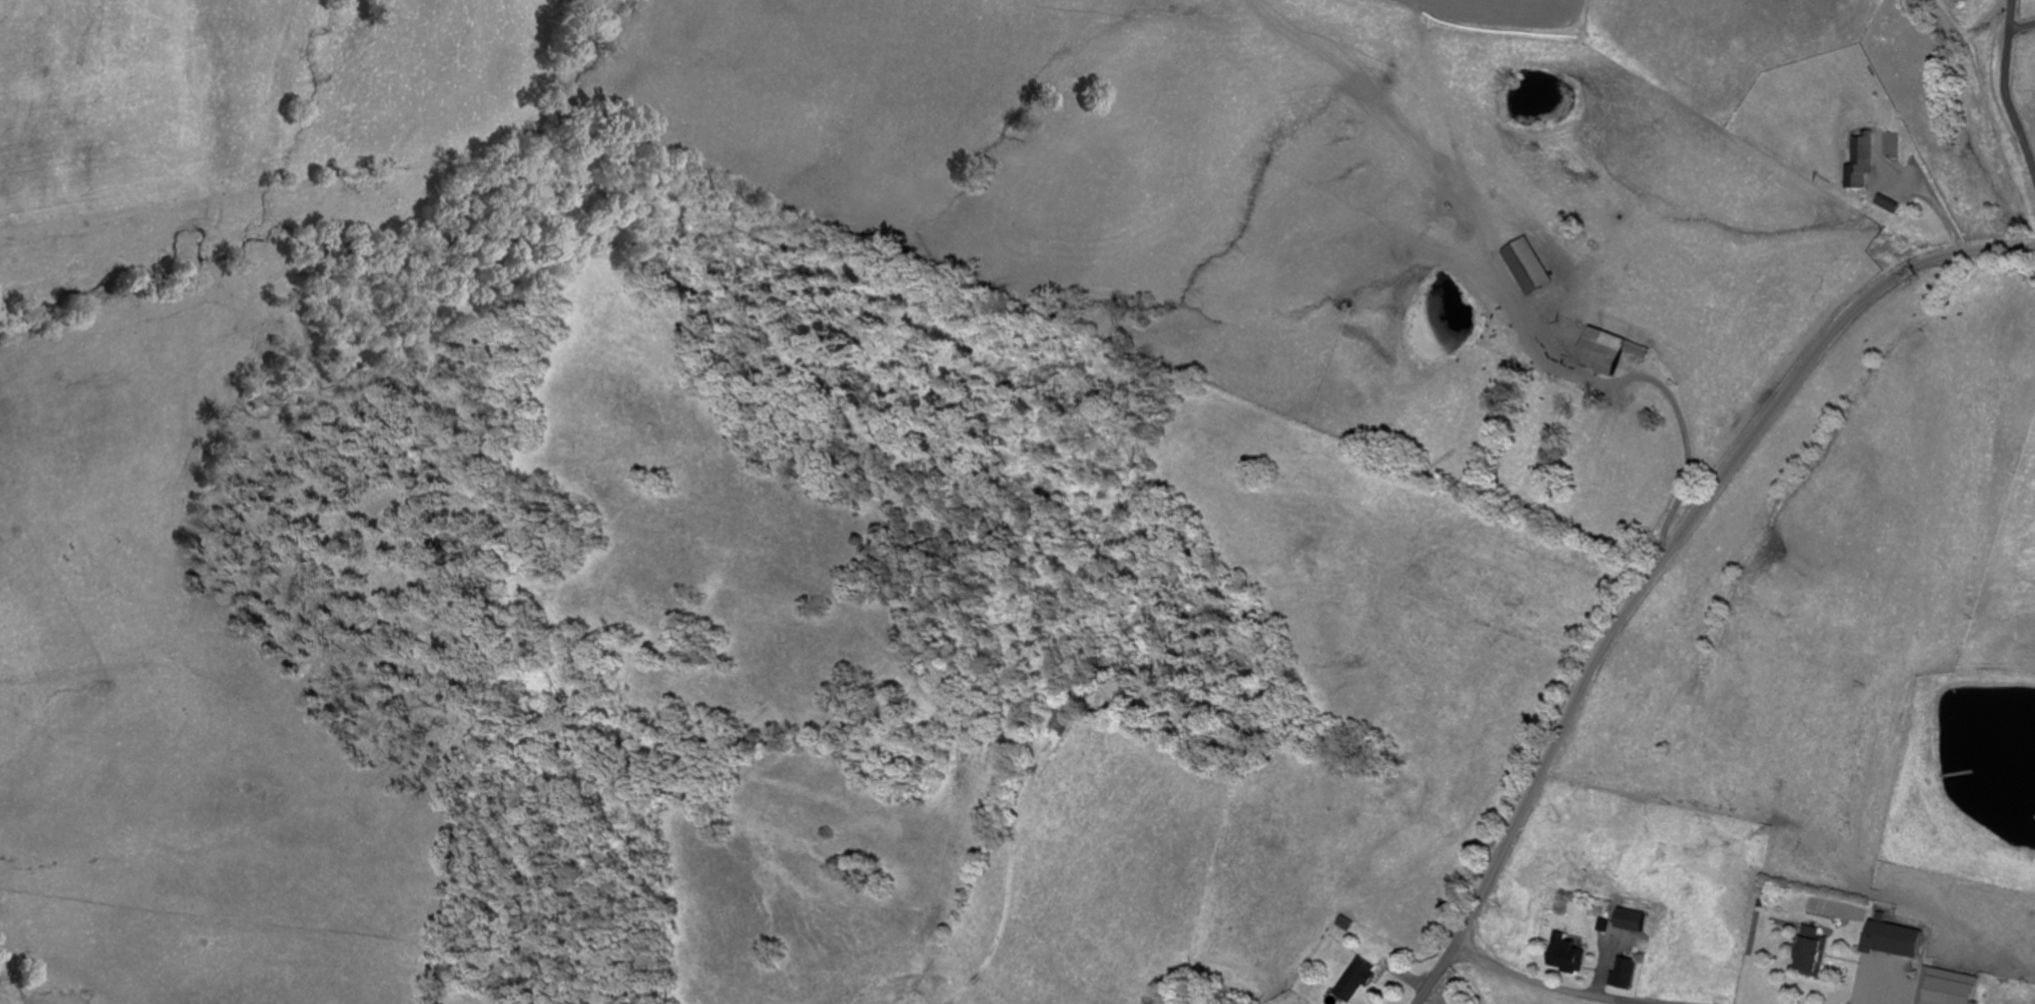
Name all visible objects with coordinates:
building: (1890, 145)
building: (1862, 149)
building: (1529, 266)
building: (1610, 351)
road: (1666, 557)
building: (1891, 938)
building: (1810, 950)
building: (1569, 954)
building: (1626, 971)
building: (1357, 978)
road: (1470, 995)

